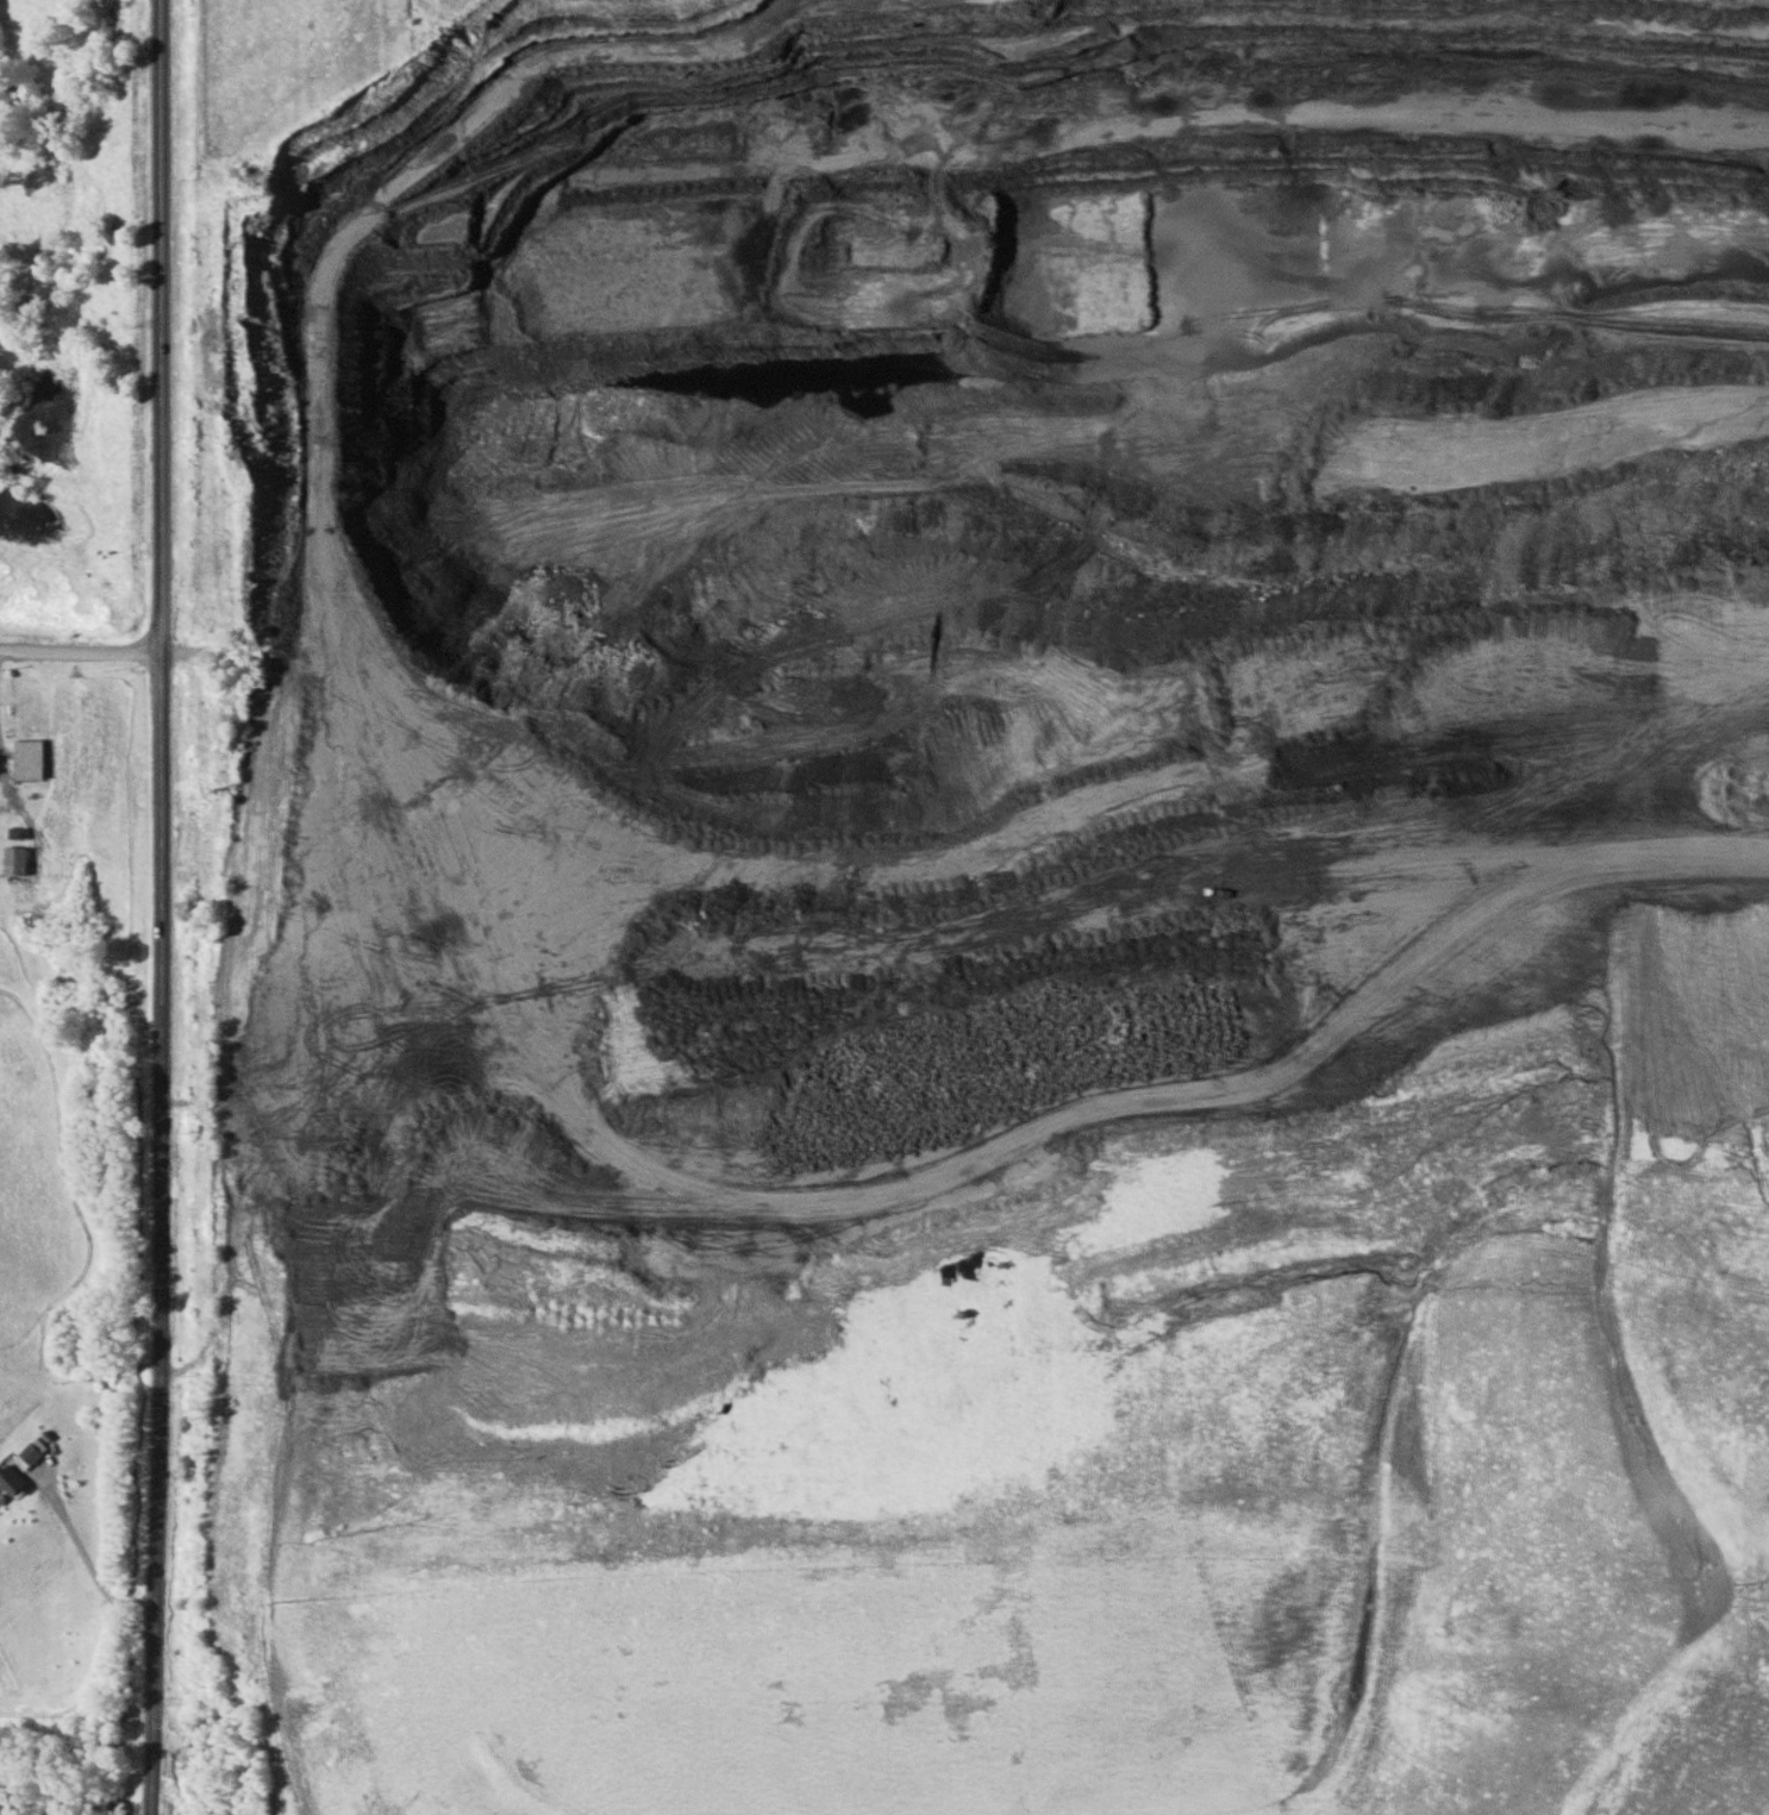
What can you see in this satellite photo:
road: (162, 326)
road: (81, 651)
road: (1, 718)
building: (29, 758)
building: (14, 862)
road: (194, 1101)
road: (161, 1233)
road: (187, 1364)

